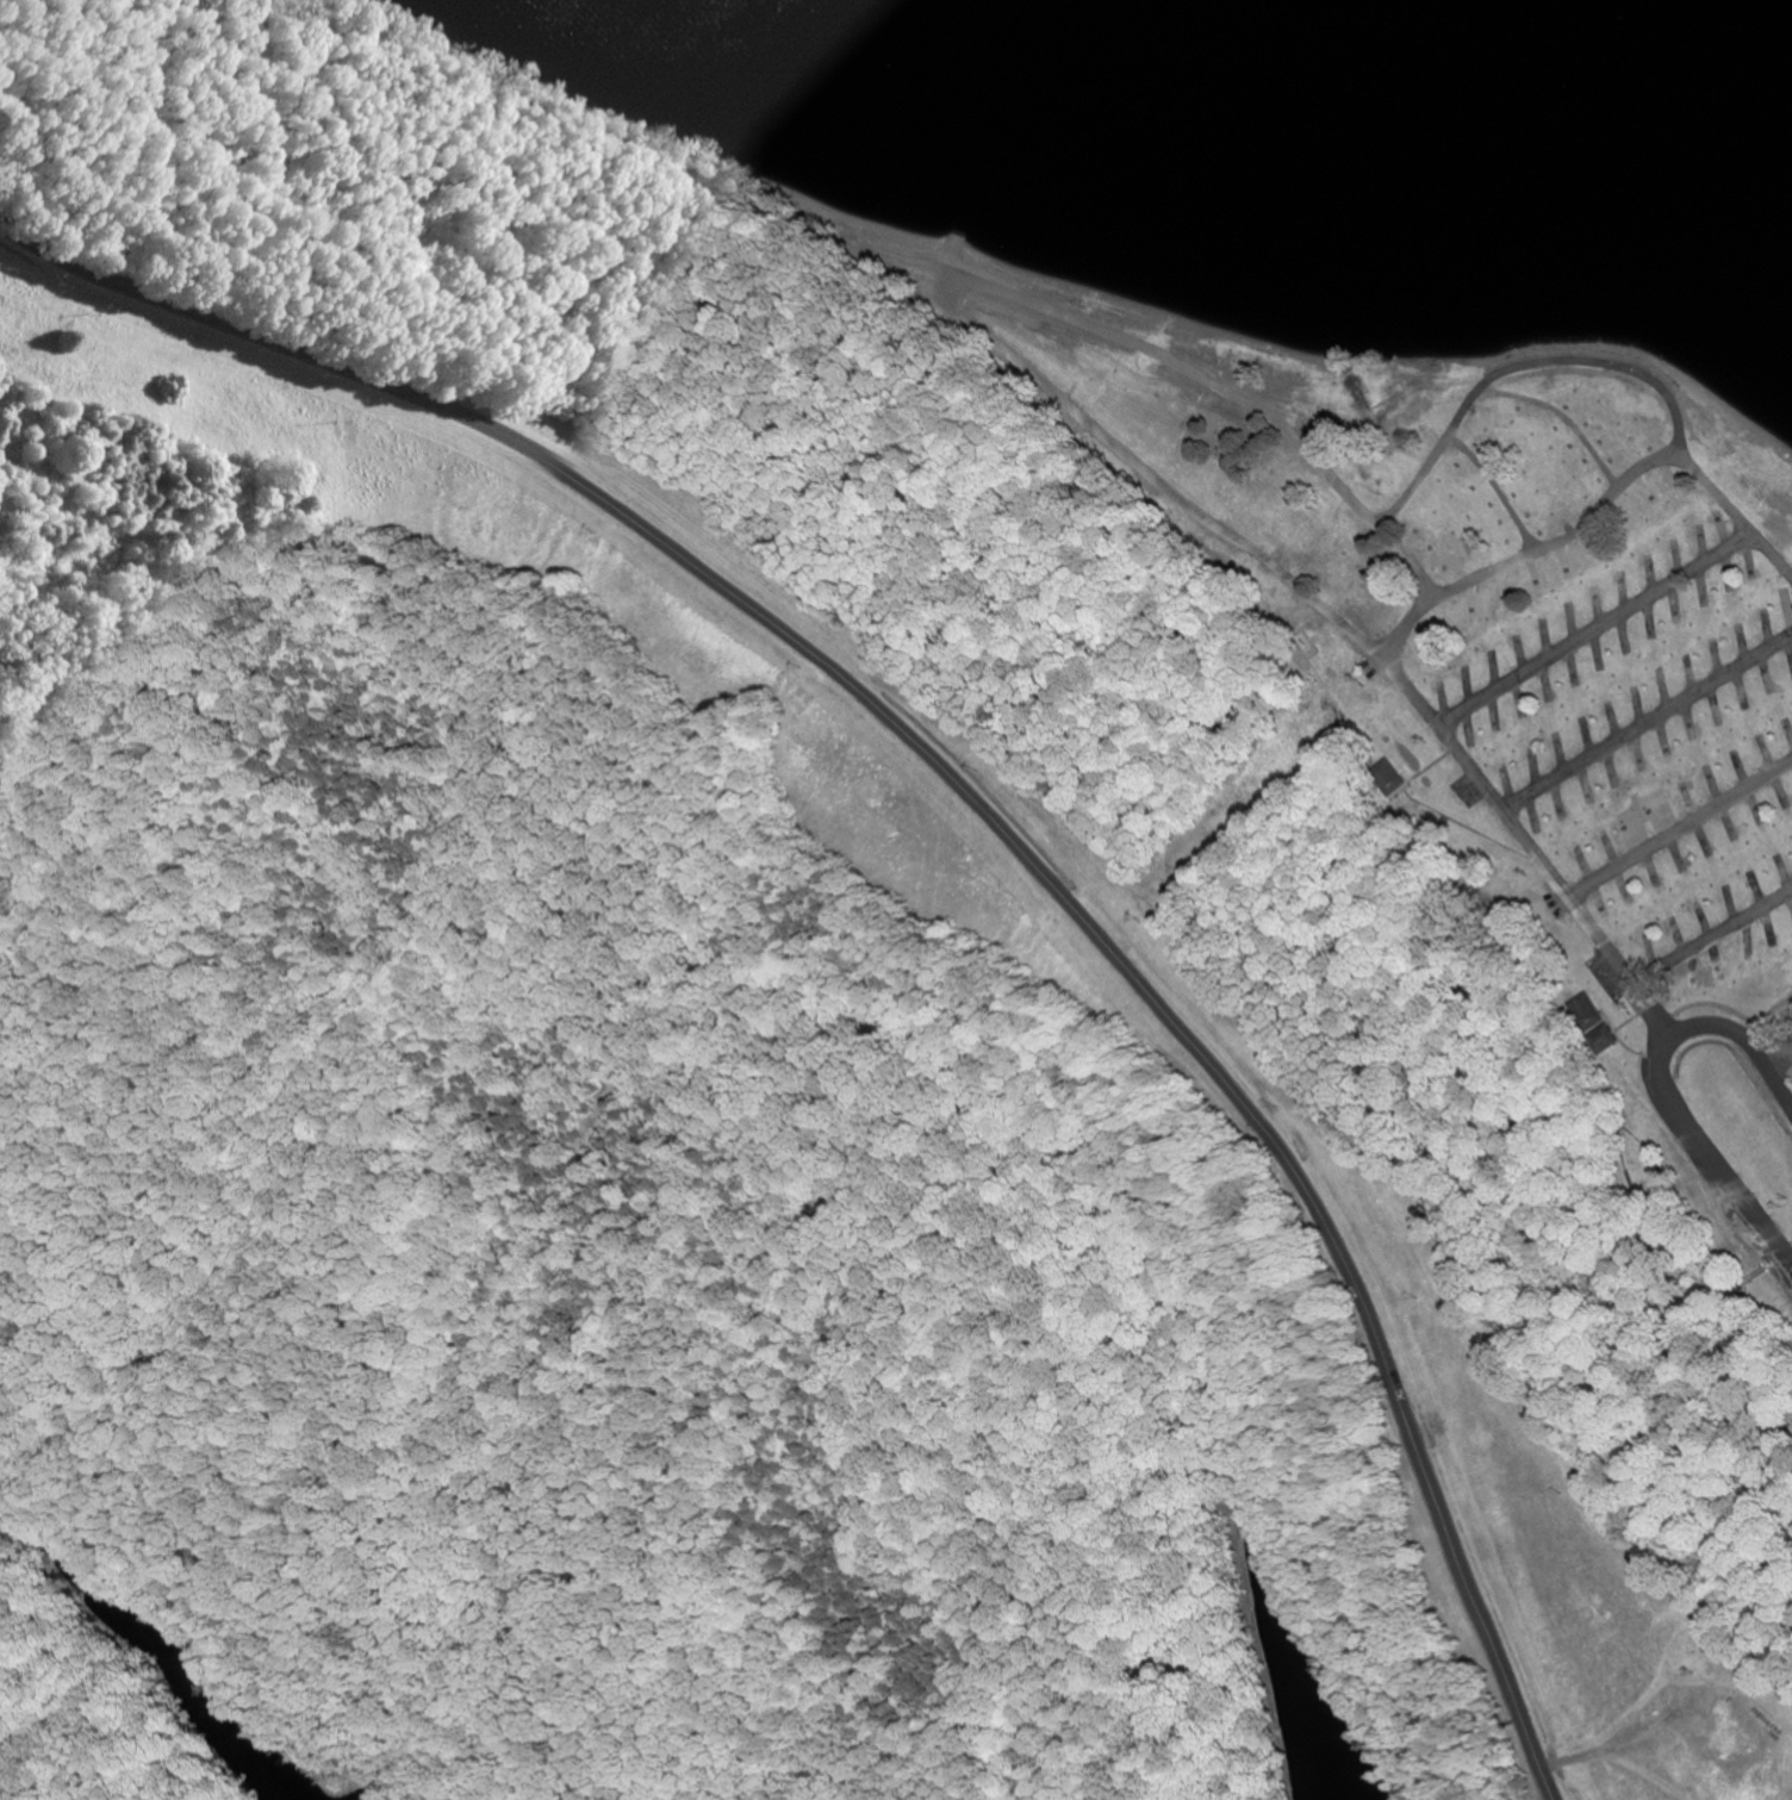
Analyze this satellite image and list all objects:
road: (1568, 415)
road: (1151, 466)
road: (1500, 488)
road: (1355, 505)
road: (1420, 605)
road: (1598, 624)
road: (1649, 721)
road: (982, 812)
road: (1682, 830)
road: (1715, 936)
park: (863, 974)
road: (1660, 1013)
building: (1592, 1016)
road: (1780, 1061)
road: (1675, 1103)
park: (88, 1717)

